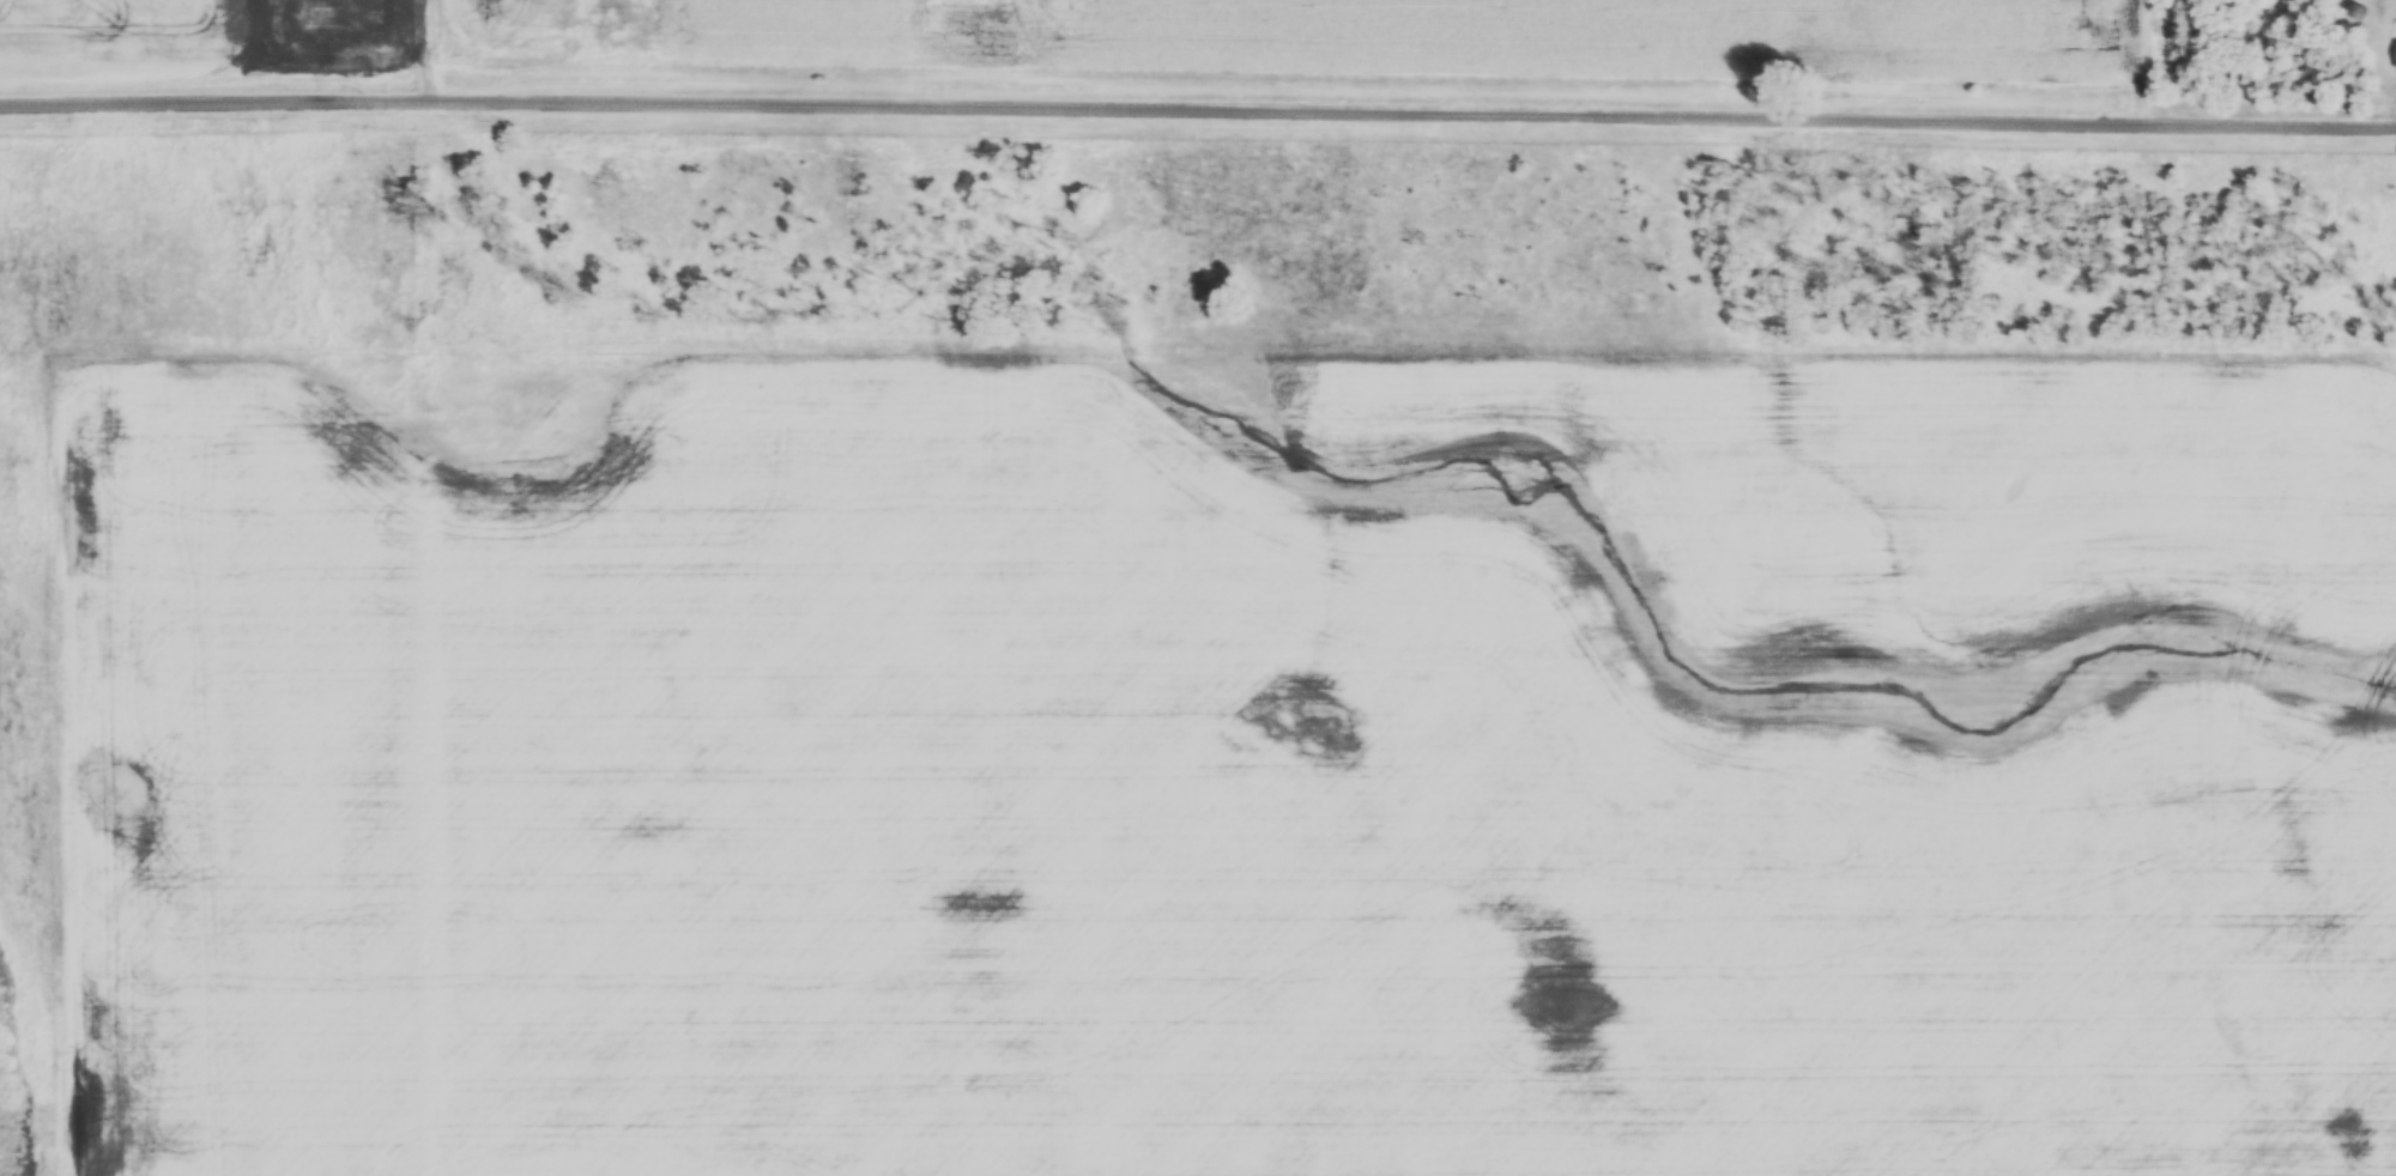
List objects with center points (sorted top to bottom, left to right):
building: (2395, 53)
road: (1198, 113)

